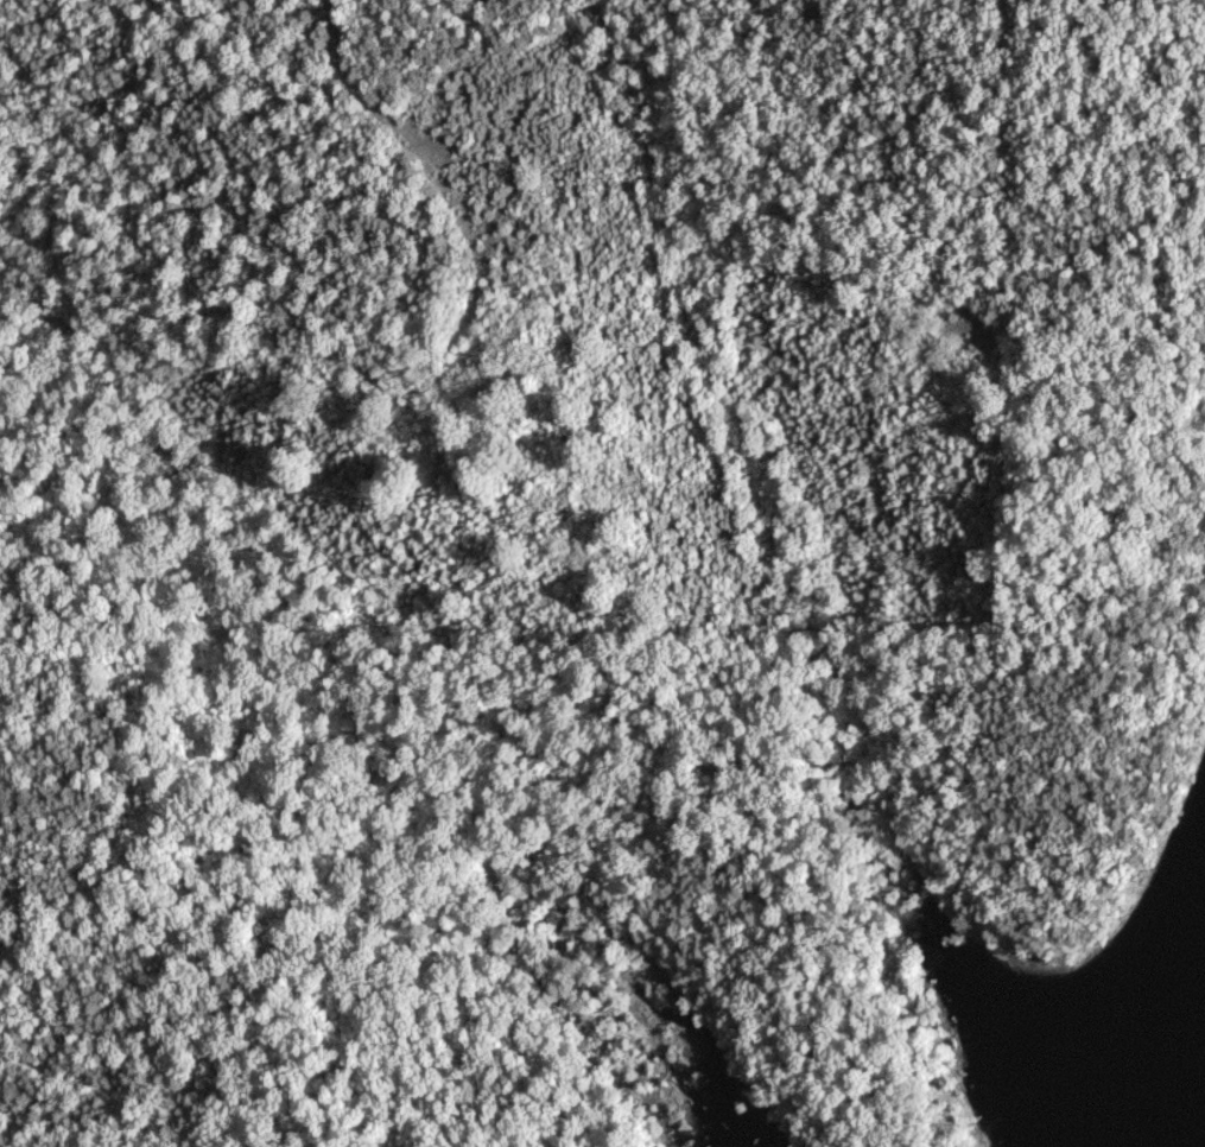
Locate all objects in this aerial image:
road: (461, 1013)
road: (94, 1095)

